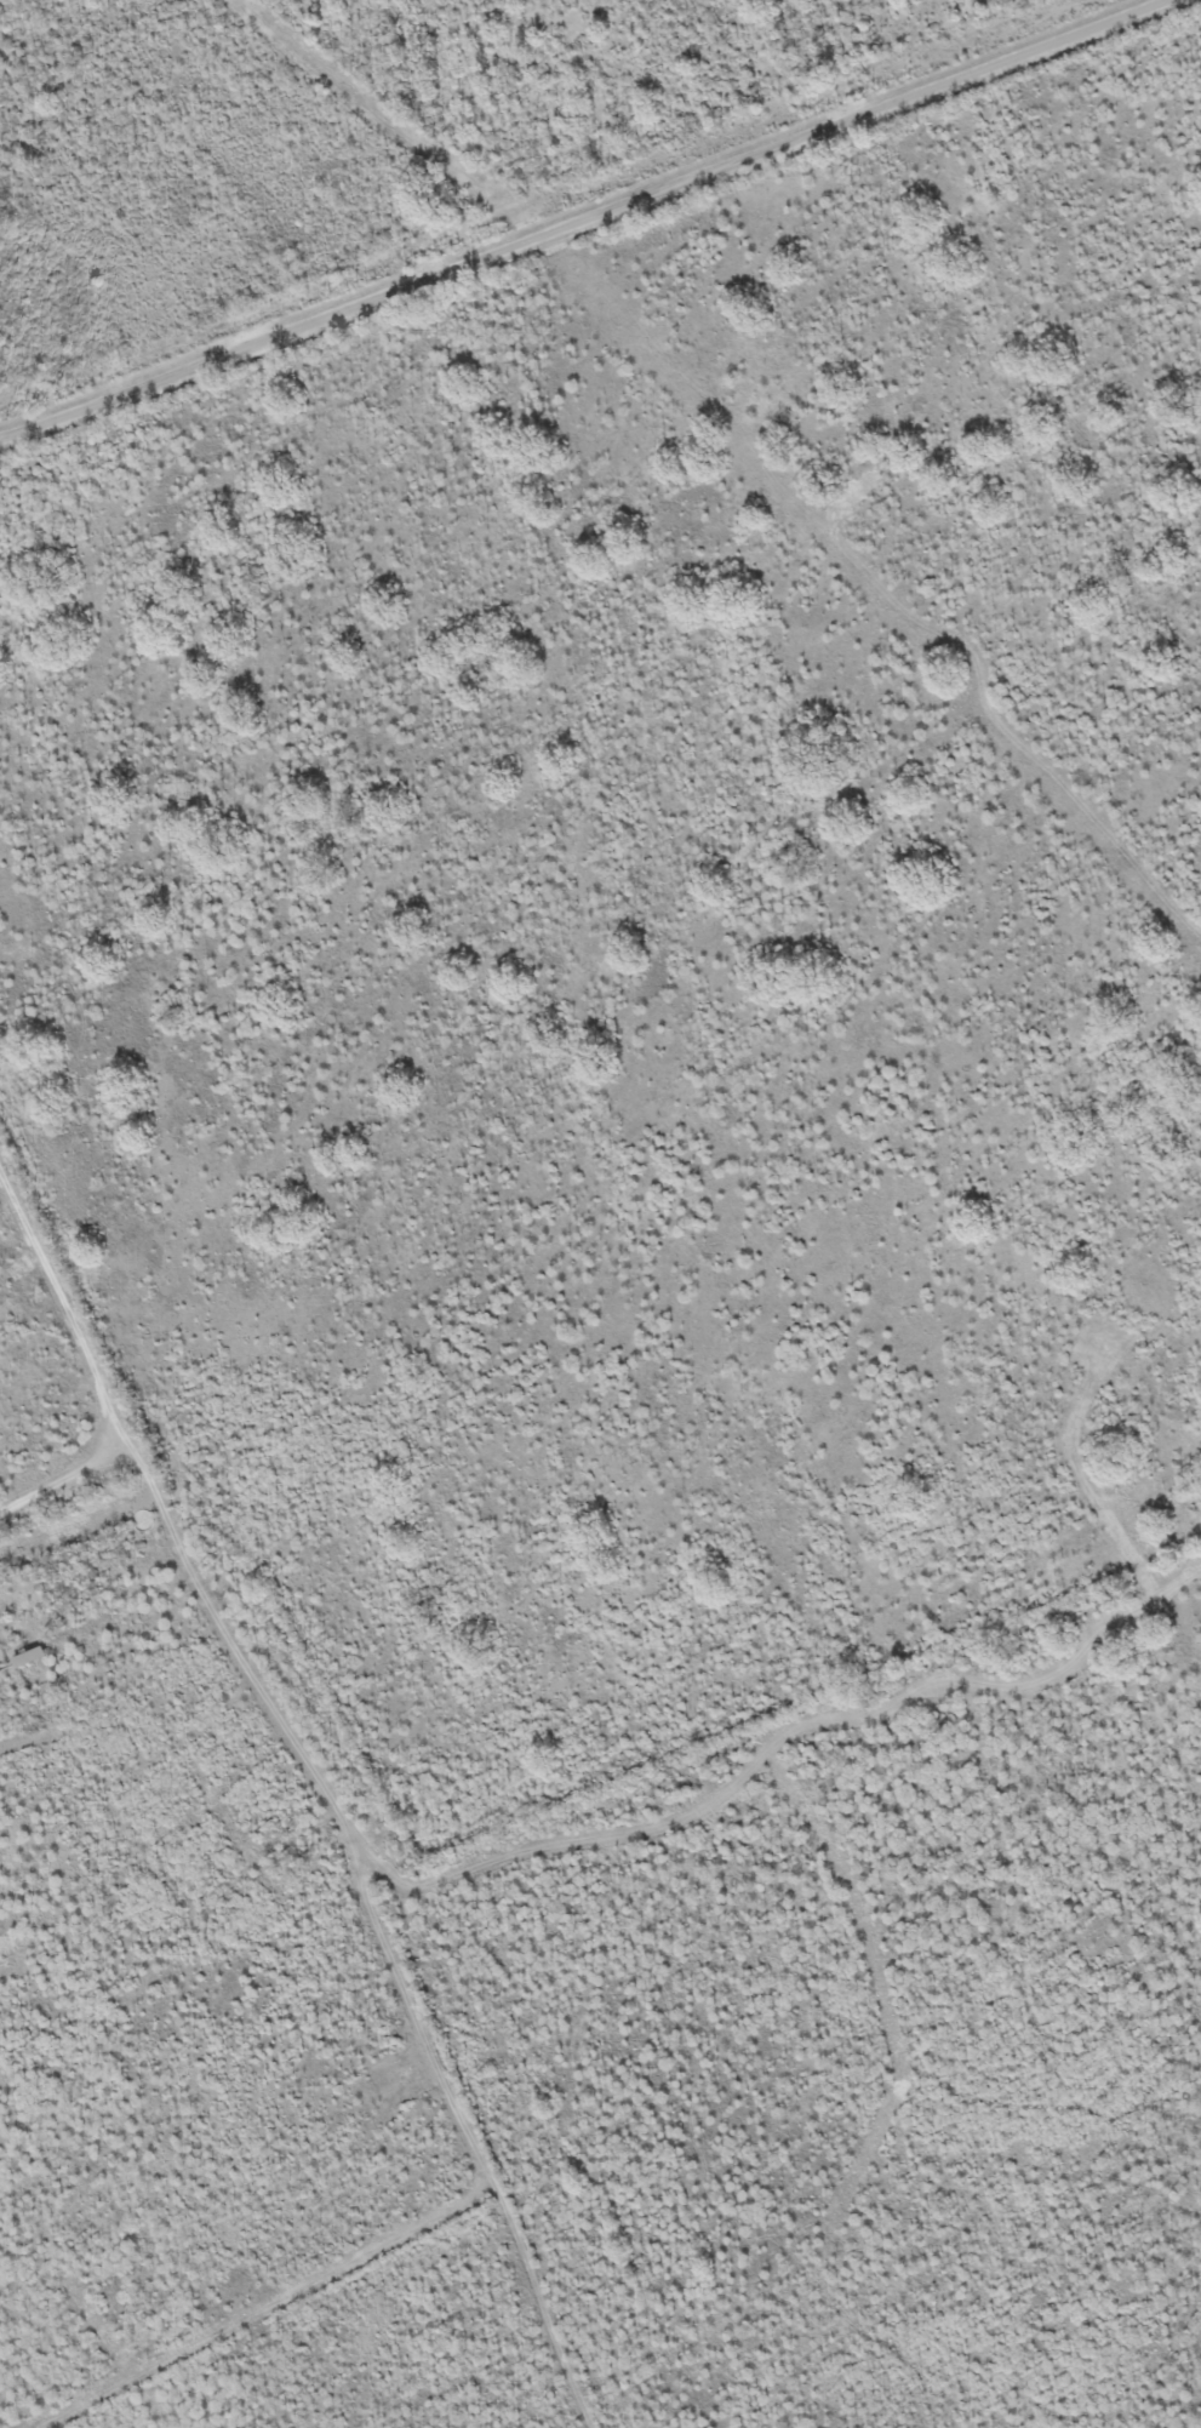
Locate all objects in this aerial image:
road: (594, 222)
building: (27, 1656)

